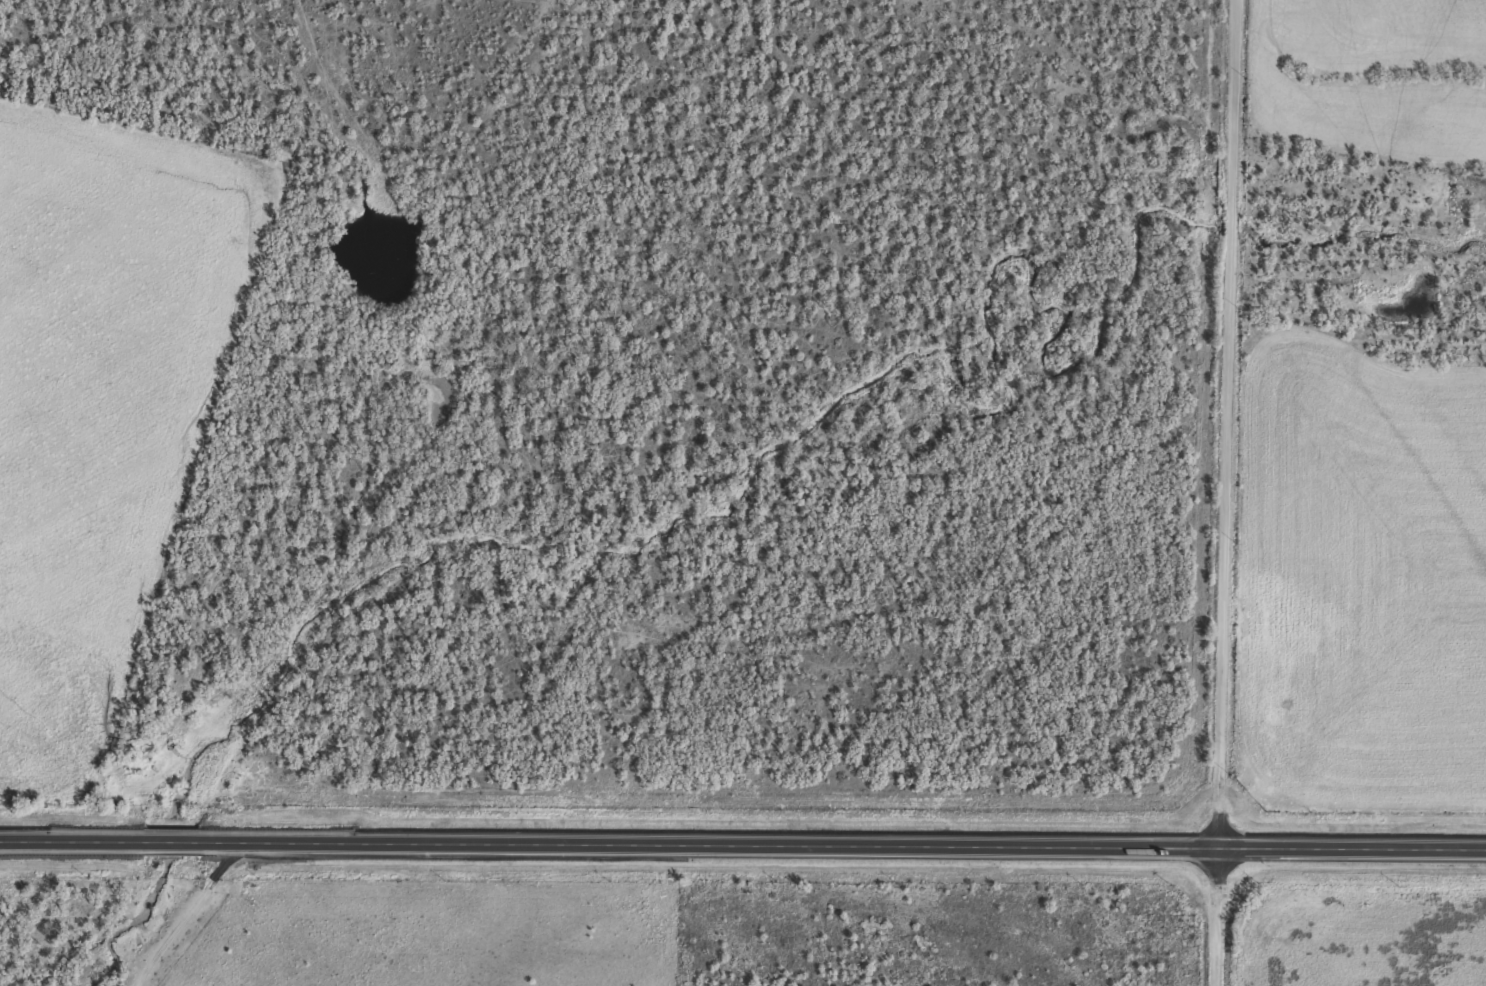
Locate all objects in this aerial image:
road: (1224, 427)
road: (743, 853)
road: (1215, 920)

